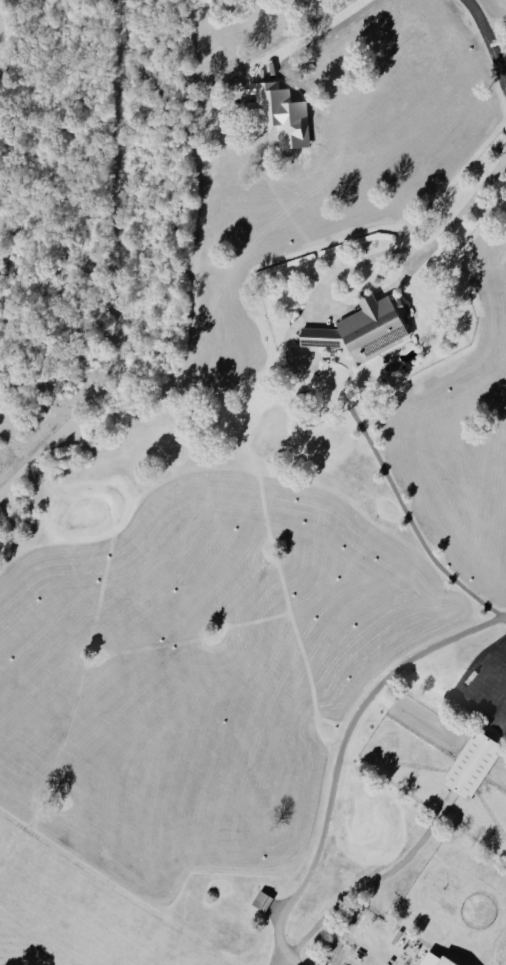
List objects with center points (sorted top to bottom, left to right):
road: (490, 34)
road: (431, 255)
building: (360, 329)
road: (418, 529)
building: (469, 765)
road: (320, 861)
building: (260, 901)
building: (437, 961)

